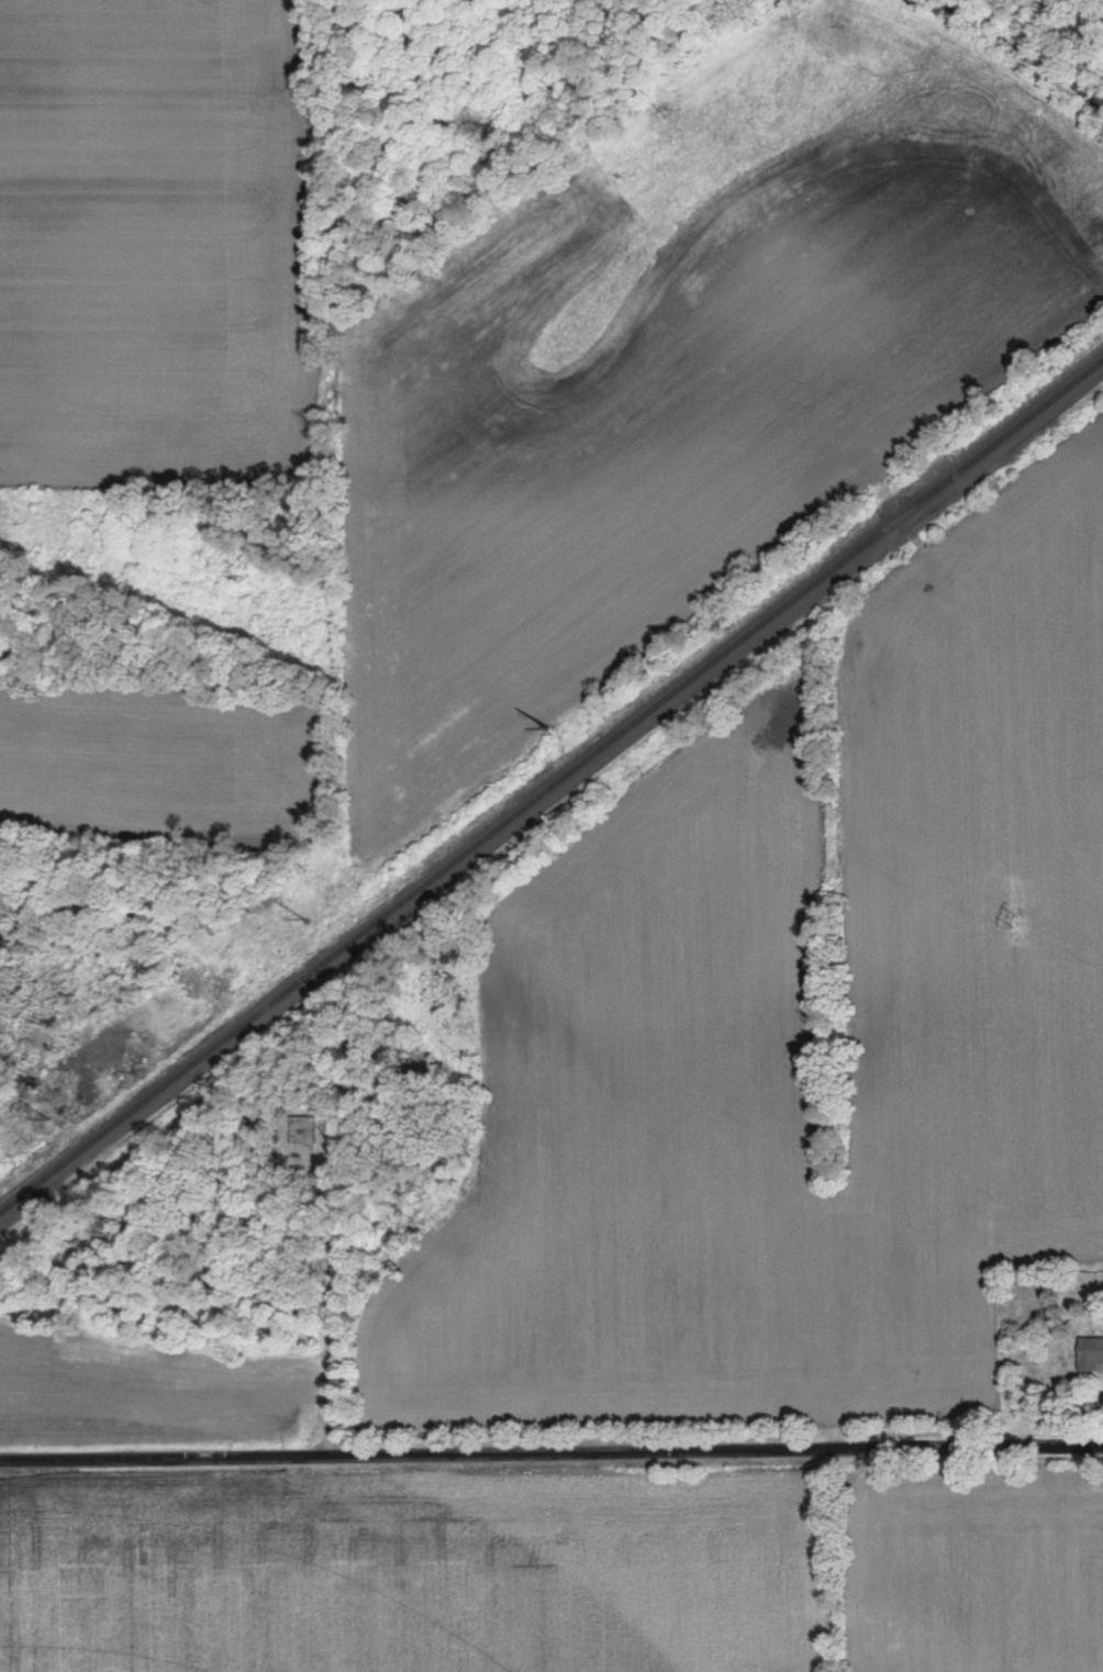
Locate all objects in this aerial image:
railway: (551, 790)
building: (303, 1130)
building: (1091, 1356)
road: (550, 1442)
crop: (983, 1570)
crop: (412, 1573)

